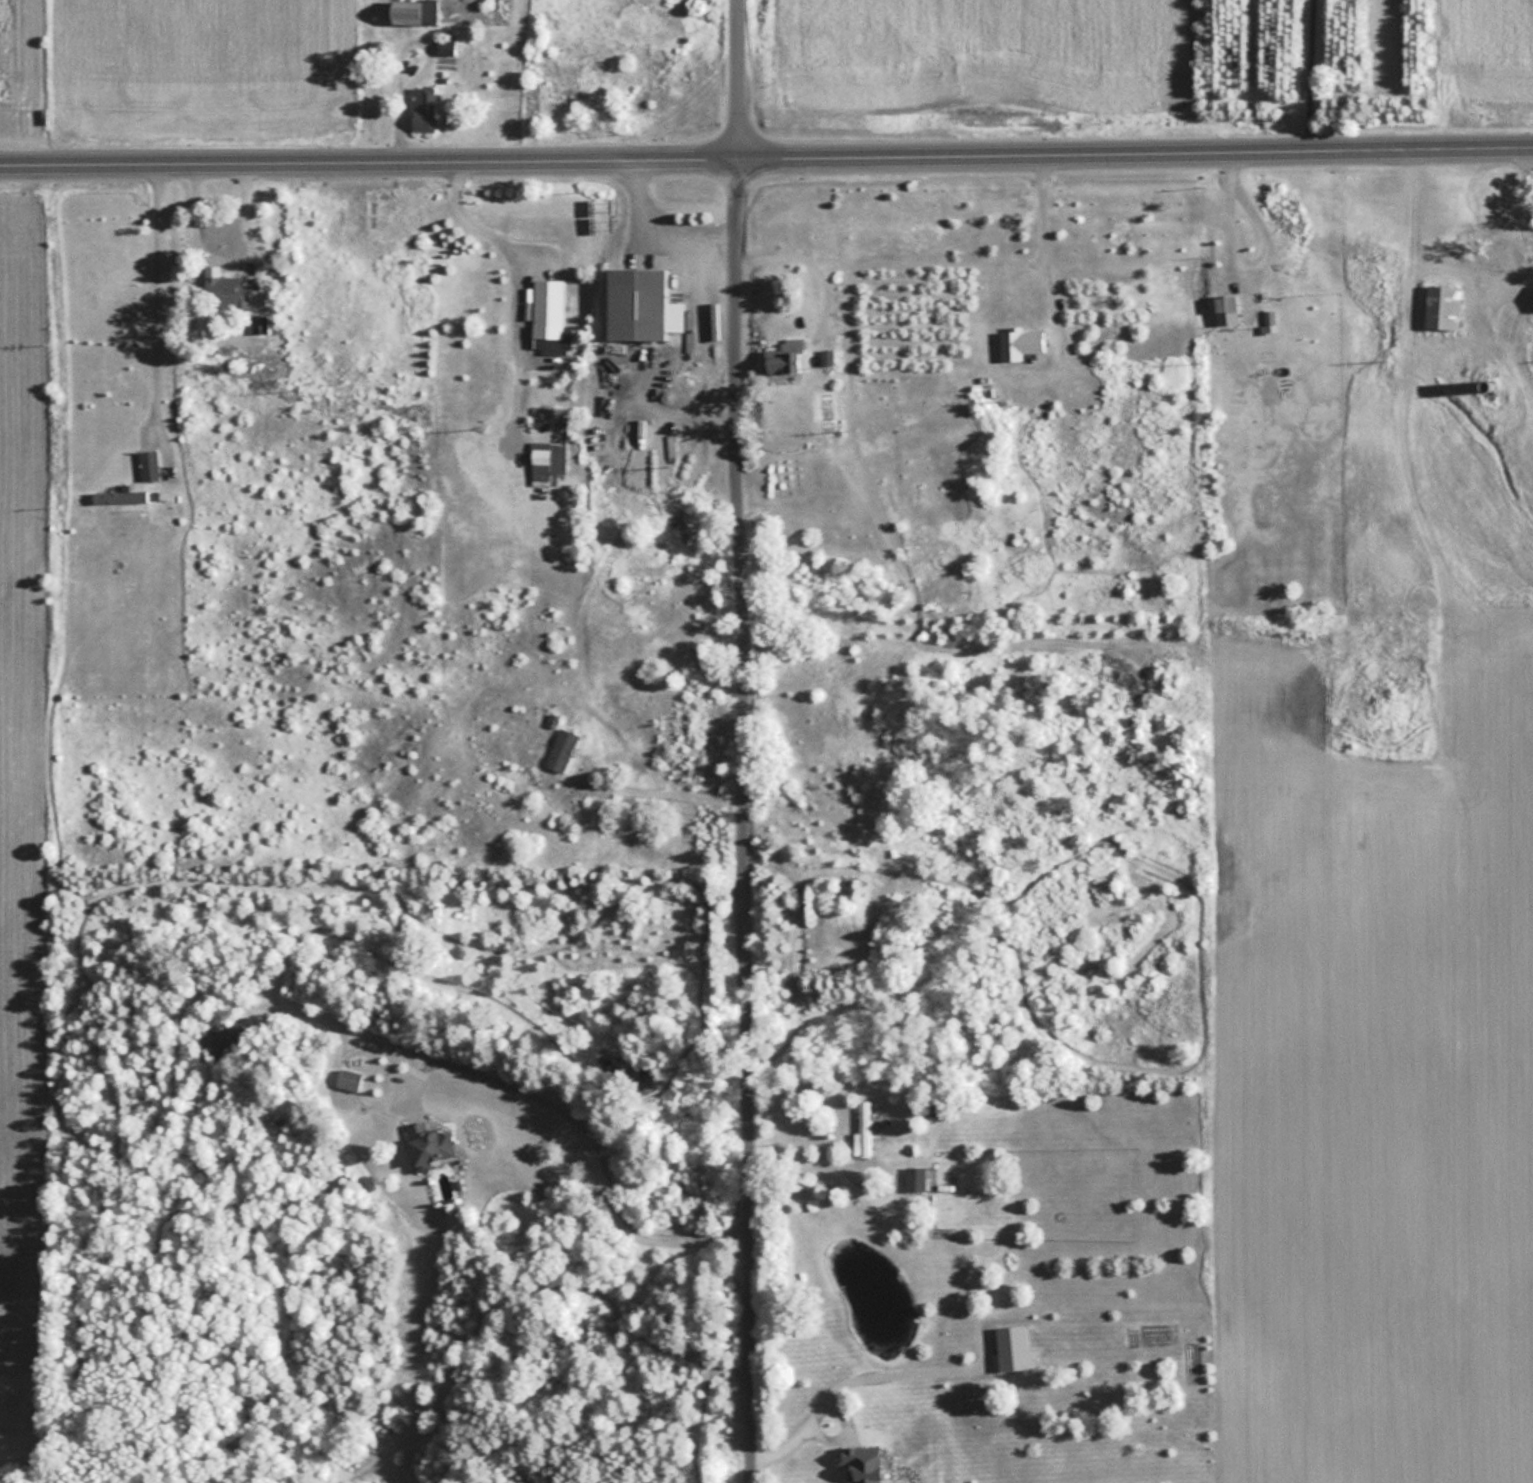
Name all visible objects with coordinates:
building: (407, 12)
road: (1307, 77)
building: (424, 108)
road: (766, 161)
road: (1042, 233)
road: (499, 240)
road: (223, 264)
road: (1242, 265)
building: (1486, 277)
building: (221, 285)
road: (152, 298)
building: (641, 304)
building: (1443, 306)
building: (547, 307)
building: (1226, 308)
building: (1020, 342)
building: (827, 356)
building: (786, 359)
building: (148, 463)
building: (118, 496)
road: (745, 741)
building: (561, 749)
road: (659, 793)
building: (831, 869)
building: (225, 1038)
building: (347, 1079)
building: (862, 1129)
road: (592, 1139)
building: (429, 1144)
building: (915, 1177)

